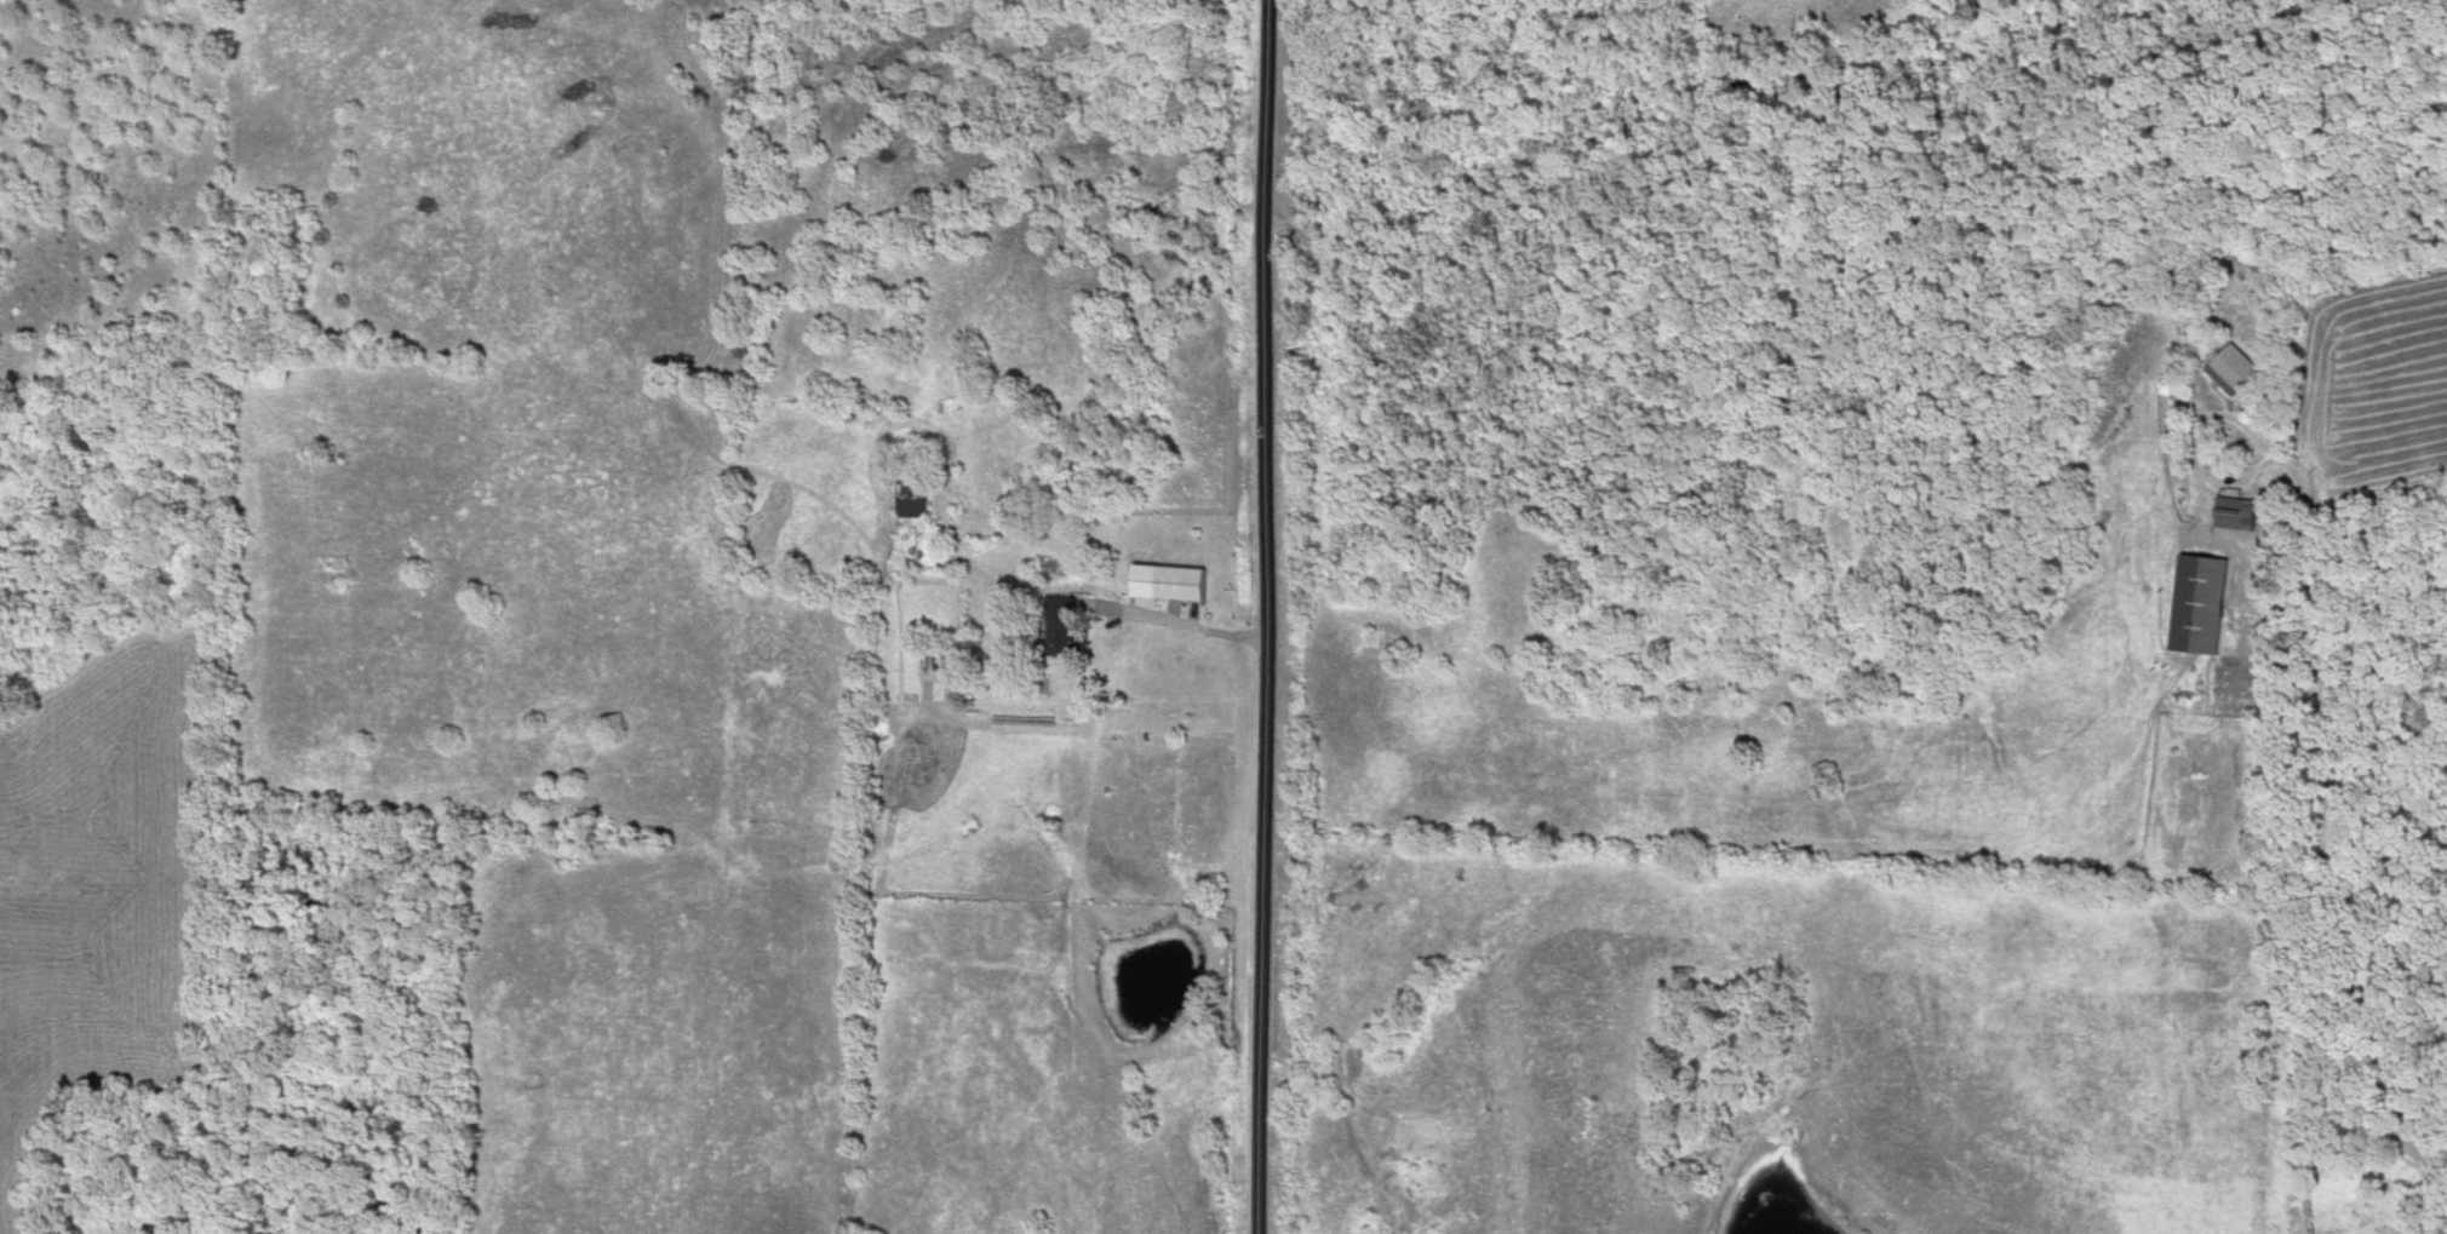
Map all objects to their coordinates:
building: (2231, 369)
road: (2195, 448)
building: (907, 501)
building: (2223, 518)
building: (1179, 584)
building: (2197, 605)
road: (1270, 616)
road: (1188, 629)
building: (1053, 644)
road: (2322, 832)

